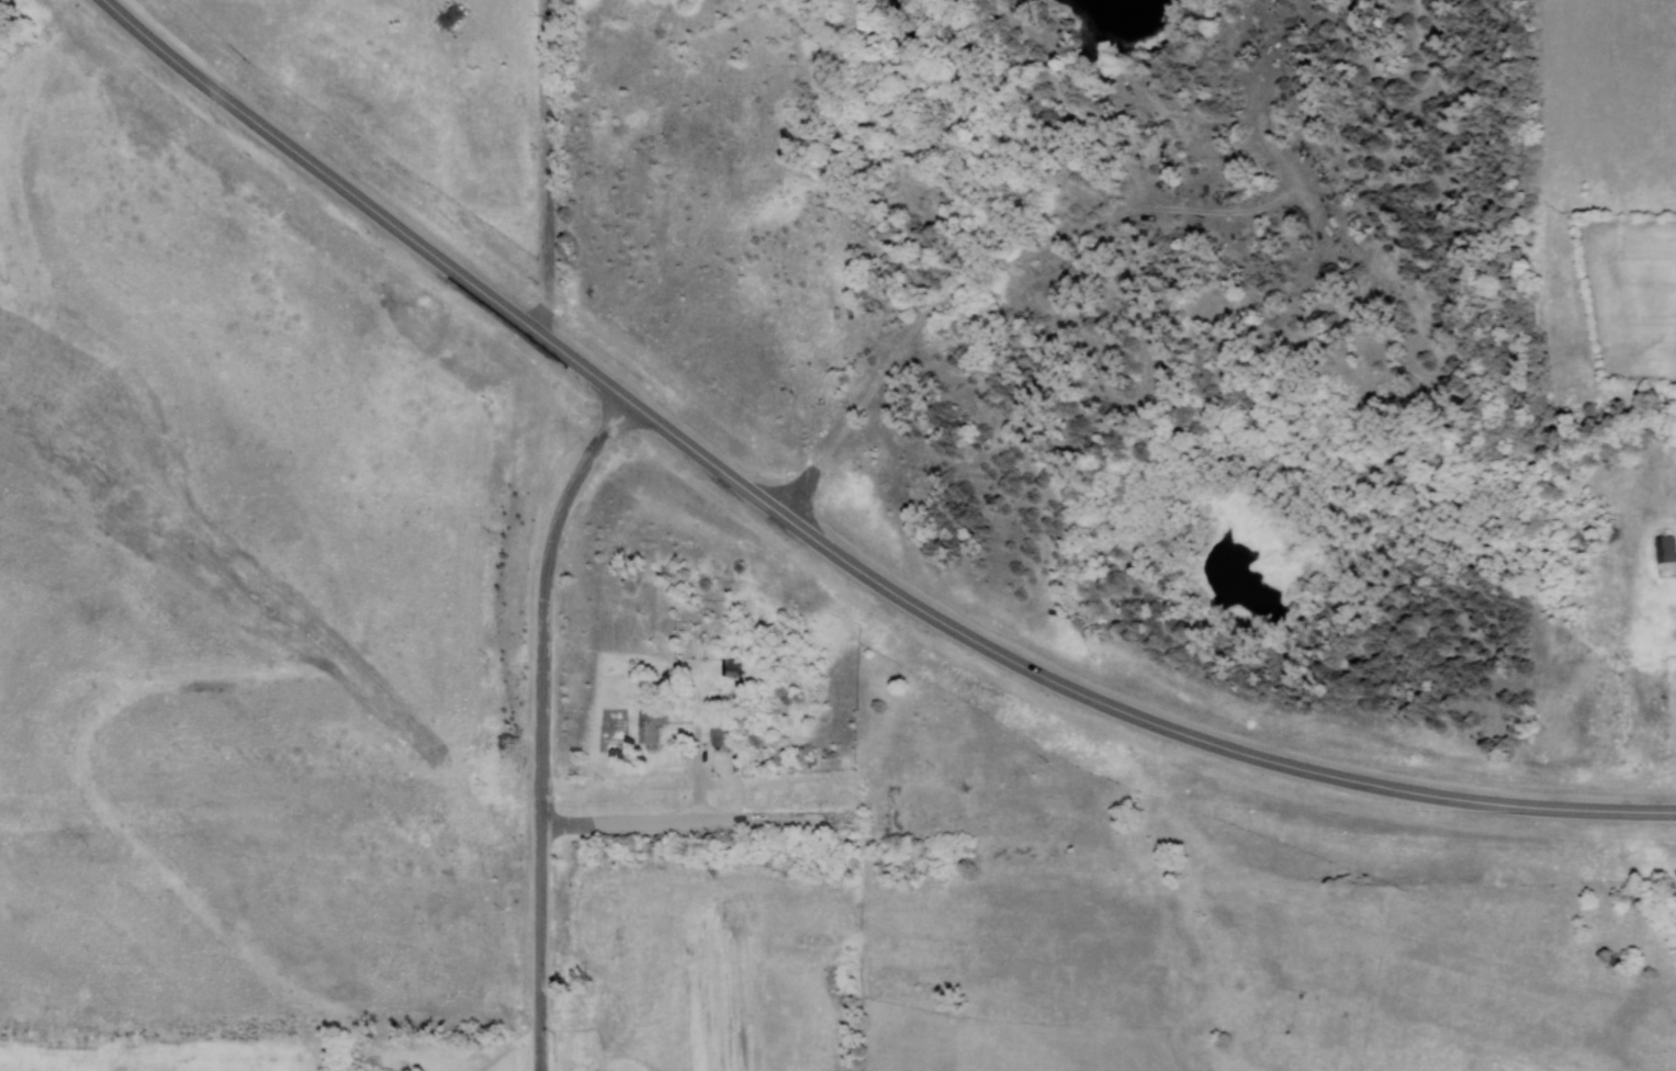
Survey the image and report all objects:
road: (1086, 116)
road: (544, 166)
road: (1278, 198)
road: (929, 315)
road: (825, 546)
building: (1664, 549)
building: (732, 667)
road: (540, 724)
building: (649, 728)
building: (720, 733)
road: (701, 820)
road: (625, 1057)

